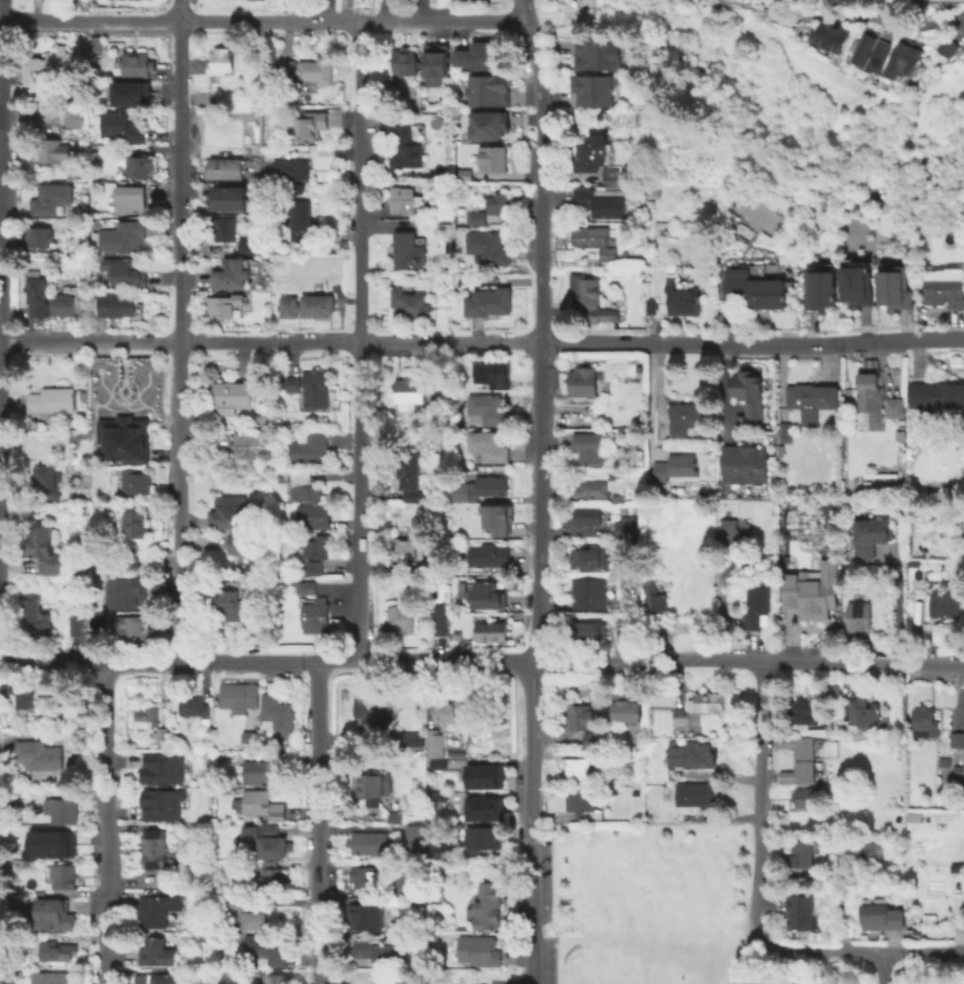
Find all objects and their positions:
building: (790, 18)
road: (259, 23)
road: (901, 24)
building: (830, 38)
building: (95, 44)
building: (948, 49)
building: (872, 54)
building: (484, 56)
building: (596, 56)
building: (220, 61)
building: (405, 61)
building: (834, 61)
building: (904, 61)
building: (136, 64)
building: (437, 65)
building: (51, 67)
building: (307, 69)
building: (390, 85)
building: (490, 92)
building: (591, 92)
building: (129, 93)
building: (231, 95)
building: (203, 98)
building: (74, 118)
building: (485, 125)
building: (121, 126)
building: (310, 126)
building: (402, 146)
building: (49, 150)
building: (69, 154)
building: (591, 154)
building: (94, 156)
building: (493, 158)
building: (139, 165)
building: (226, 168)
building: (291, 170)
building: (460, 174)
building: (613, 176)
building: (654, 191)
building: (50, 198)
building: (130, 199)
building: (231, 199)
building: (404, 200)
building: (497, 203)
building: (650, 203)
building: (600, 204)
building: (476, 217)
building: (300, 220)
building: (224, 228)
building: (442, 228)
building: (124, 236)
building: (40, 237)
building: (595, 241)
building: (250, 246)
building: (487, 248)
building: (408, 251)
building: (127, 273)
building: (231, 277)
building: (855, 288)
building: (755, 292)
building: (818, 292)
building: (945, 292)
building: (894, 293)
building: (37, 297)
building: (684, 300)
building: (592, 301)
building: (488, 302)
building: (410, 303)
building: (64, 305)
building: (223, 305)
building: (116, 306)
building: (306, 306)
building: (652, 306)
road: (180, 330)
road: (541, 330)
road: (901, 340)
road: (361, 342)
road: (327, 344)
road: (686, 345)
road: (778, 345)
building: (492, 374)
building: (125, 379)
building: (583, 381)
building: (292, 384)
building: (316, 386)
building: (410, 389)
road: (726, 391)
building: (750, 393)
building: (871, 393)
building: (936, 395)
building: (231, 396)
road: (653, 398)
building: (53, 400)
road: (658, 400)
building: (812, 400)
building: (443, 404)
building: (894, 408)
building: (487, 410)
building: (685, 414)
building: (262, 421)
building: (784, 432)
building: (127, 436)
building: (439, 438)
building: (488, 446)
building: (589, 447)
building: (250, 448)
building: (309, 448)
building: (780, 451)
building: (744, 461)
building: (674, 463)
building: (615, 474)
building: (408, 477)
building: (139, 478)
building: (46, 481)
building: (299, 485)
building: (492, 485)
building: (854, 486)
building: (942, 488)
building: (593, 489)
building: (460, 493)
building: (228, 508)
building: (314, 516)
building: (586, 516)
building: (499, 520)
building: (135, 523)
building: (628, 526)
building: (870, 531)
building: (730, 536)
building: (252, 547)
building: (317, 547)
building: (45, 550)
building: (405, 550)
building: (491, 557)
building: (590, 558)
building: (315, 568)
building: (651, 571)
building: (129, 587)
building: (308, 587)
building: (811, 590)
building: (590, 592)
building: (488, 595)
building: (656, 598)
road: (896, 603)
building: (944, 604)
building: (229, 605)
building: (756, 606)
building: (317, 615)
building: (859, 617)
building: (38, 618)
building: (401, 619)
building: (442, 619)
building: (135, 627)
building: (78, 629)
building: (494, 631)
building: (590, 631)
building: (95, 639)
road: (267, 661)
road: (750, 662)
building: (24, 692)
building: (238, 696)
building: (625, 703)
building: (701, 705)
building: (863, 707)
building: (197, 708)
building: (375, 710)
building: (451, 710)
building: (800, 710)
building: (279, 715)
building: (581, 716)
building: (148, 717)
building: (924, 721)
building: (163, 735)
building: (408, 739)
building: (593, 739)
building: (956, 739)
building: (435, 743)
building: (796, 745)
building: (39, 754)
building: (691, 755)
building: (944, 762)
building: (435, 763)
building: (164, 768)
building: (264, 768)
building: (578, 768)
building: (796, 772)
building: (482, 776)
building: (369, 787)
building: (435, 794)
building: (695, 794)
building: (807, 797)
building: (584, 801)
building: (163, 803)
building: (264, 804)
road: (757, 804)
building: (476, 808)
building: (62, 810)
building: (914, 815)
building: (395, 817)
road: (320, 823)
road: (531, 823)
road: (105, 824)
building: (433, 833)
building: (417, 836)
building: (486, 837)
building: (266, 840)
building: (49, 843)
building: (369, 843)
building: (859, 847)
building: (155, 848)
building: (801, 854)
building: (957, 866)
building: (275, 874)
building: (65, 877)
building: (367, 877)
building: (406, 883)
building: (394, 900)
building: (487, 905)
building: (801, 908)
building: (158, 910)
building: (56, 911)
building: (243, 913)
building: (366, 916)
building: (881, 917)
building: (265, 949)
building: (479, 949)
building: (157, 950)
building: (57, 951)
road: (861, 951)
building: (379, 952)
road: (881, 968)
park: (602, 969)
building: (269, 976)
building: (51, 978)
building: (153, 979)
building: (401, 979)

